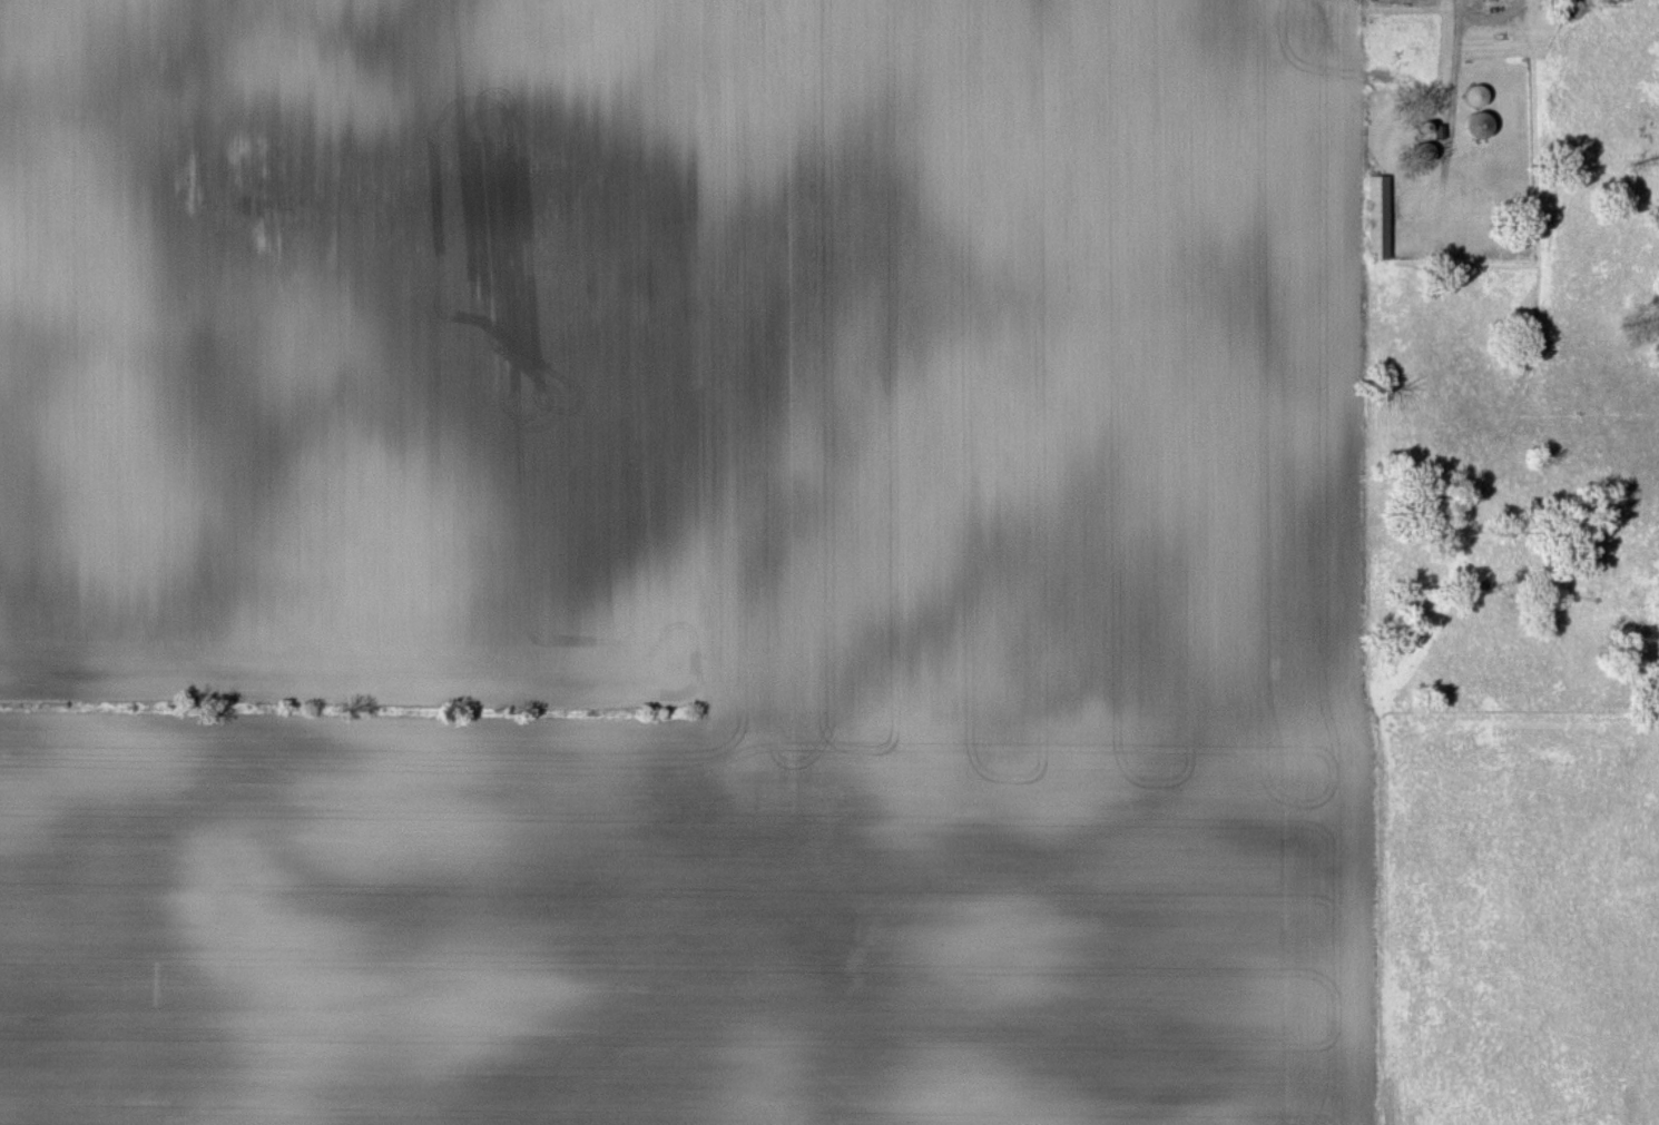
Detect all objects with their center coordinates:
building: (1377, 216)

